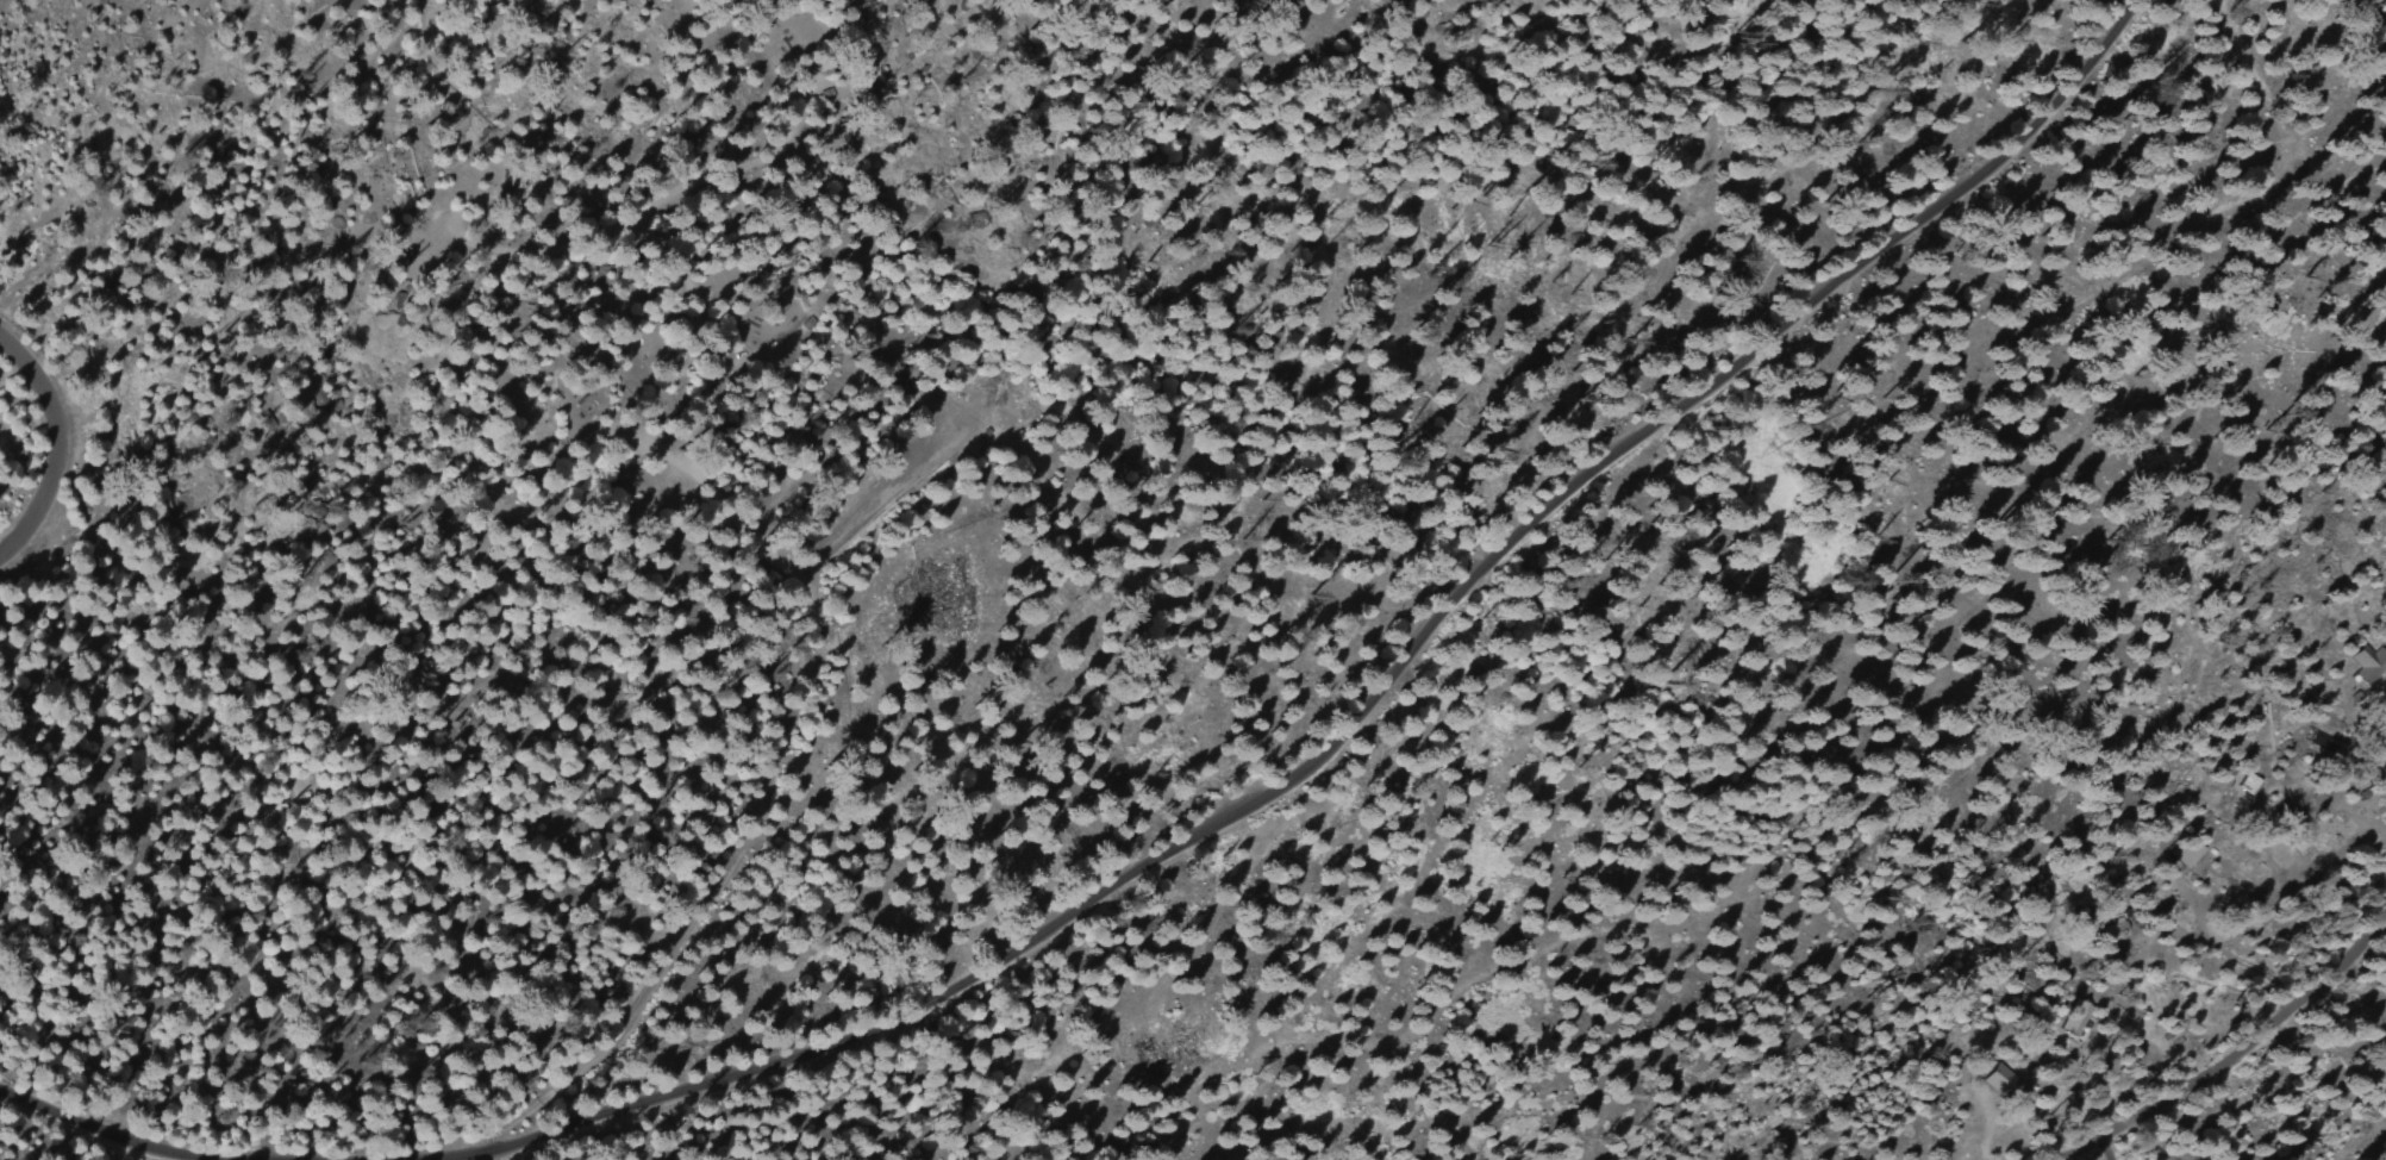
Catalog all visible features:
road: (699, 443)
road: (61, 450)
road: (885, 491)
building: (2366, 662)
road: (1375, 690)
road: (760, 797)
road: (2238, 1055)
road: (96, 1129)

